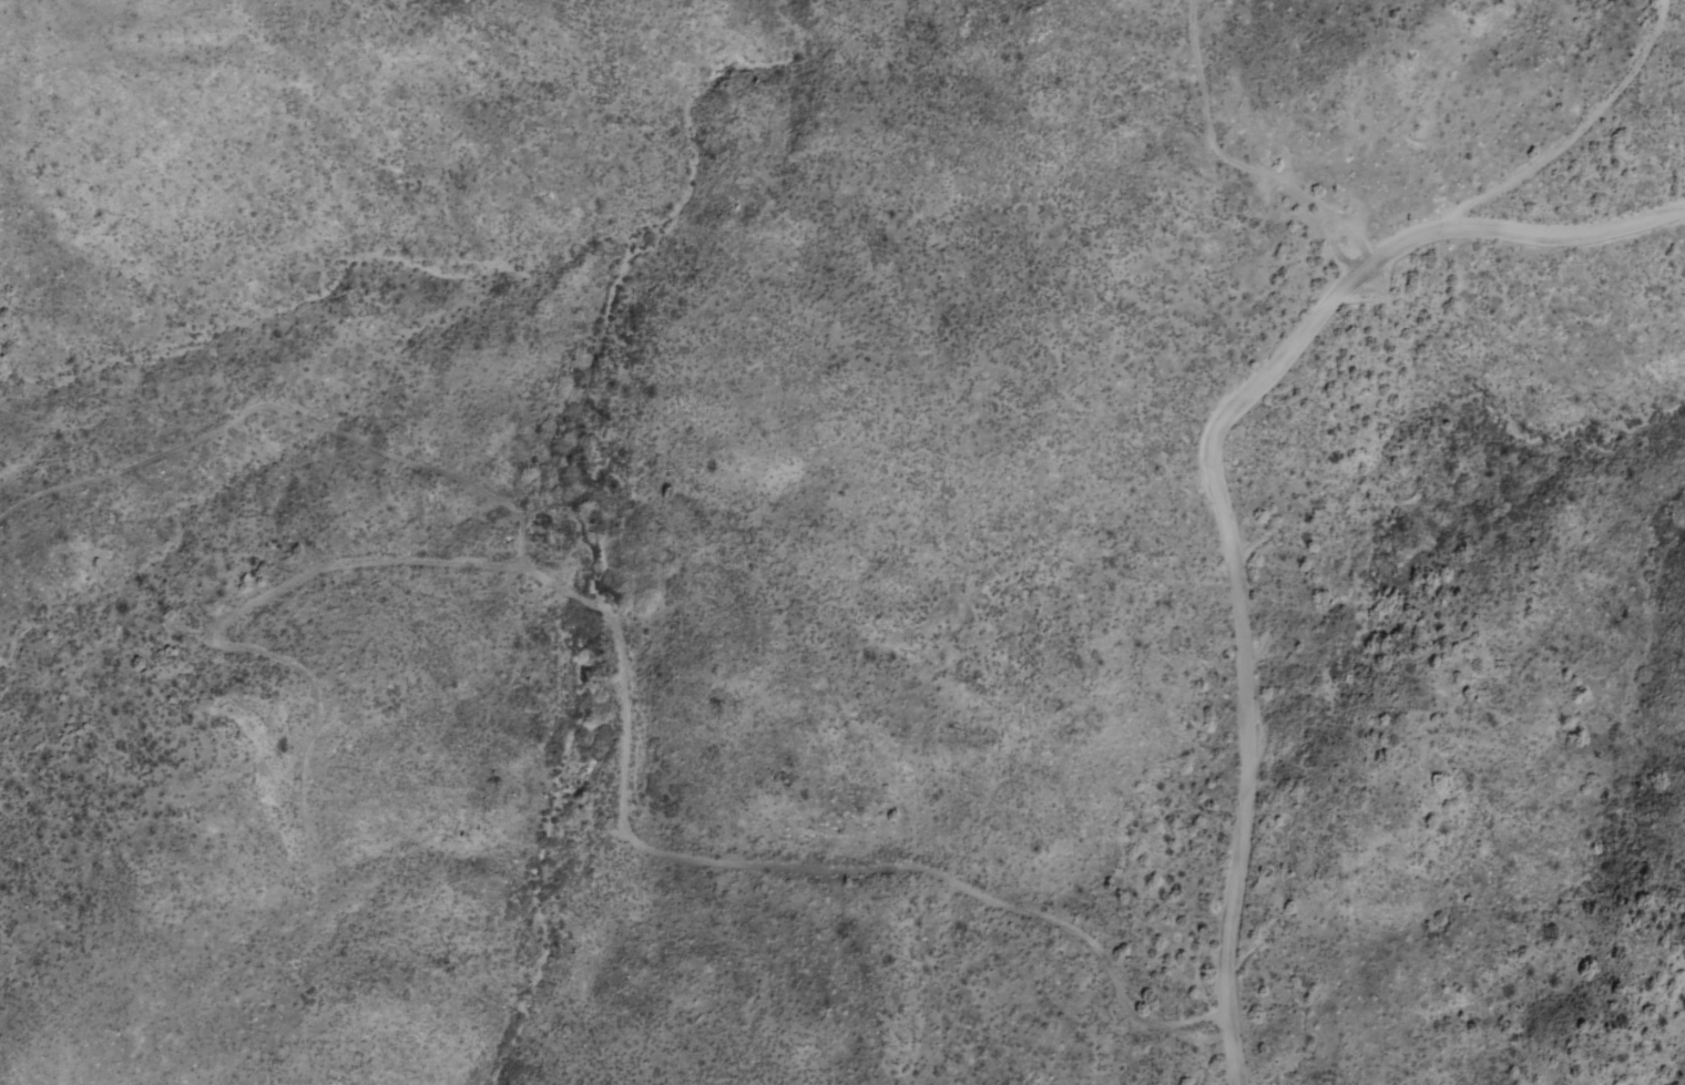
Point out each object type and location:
road: (1216, 482)
road: (626, 738)

